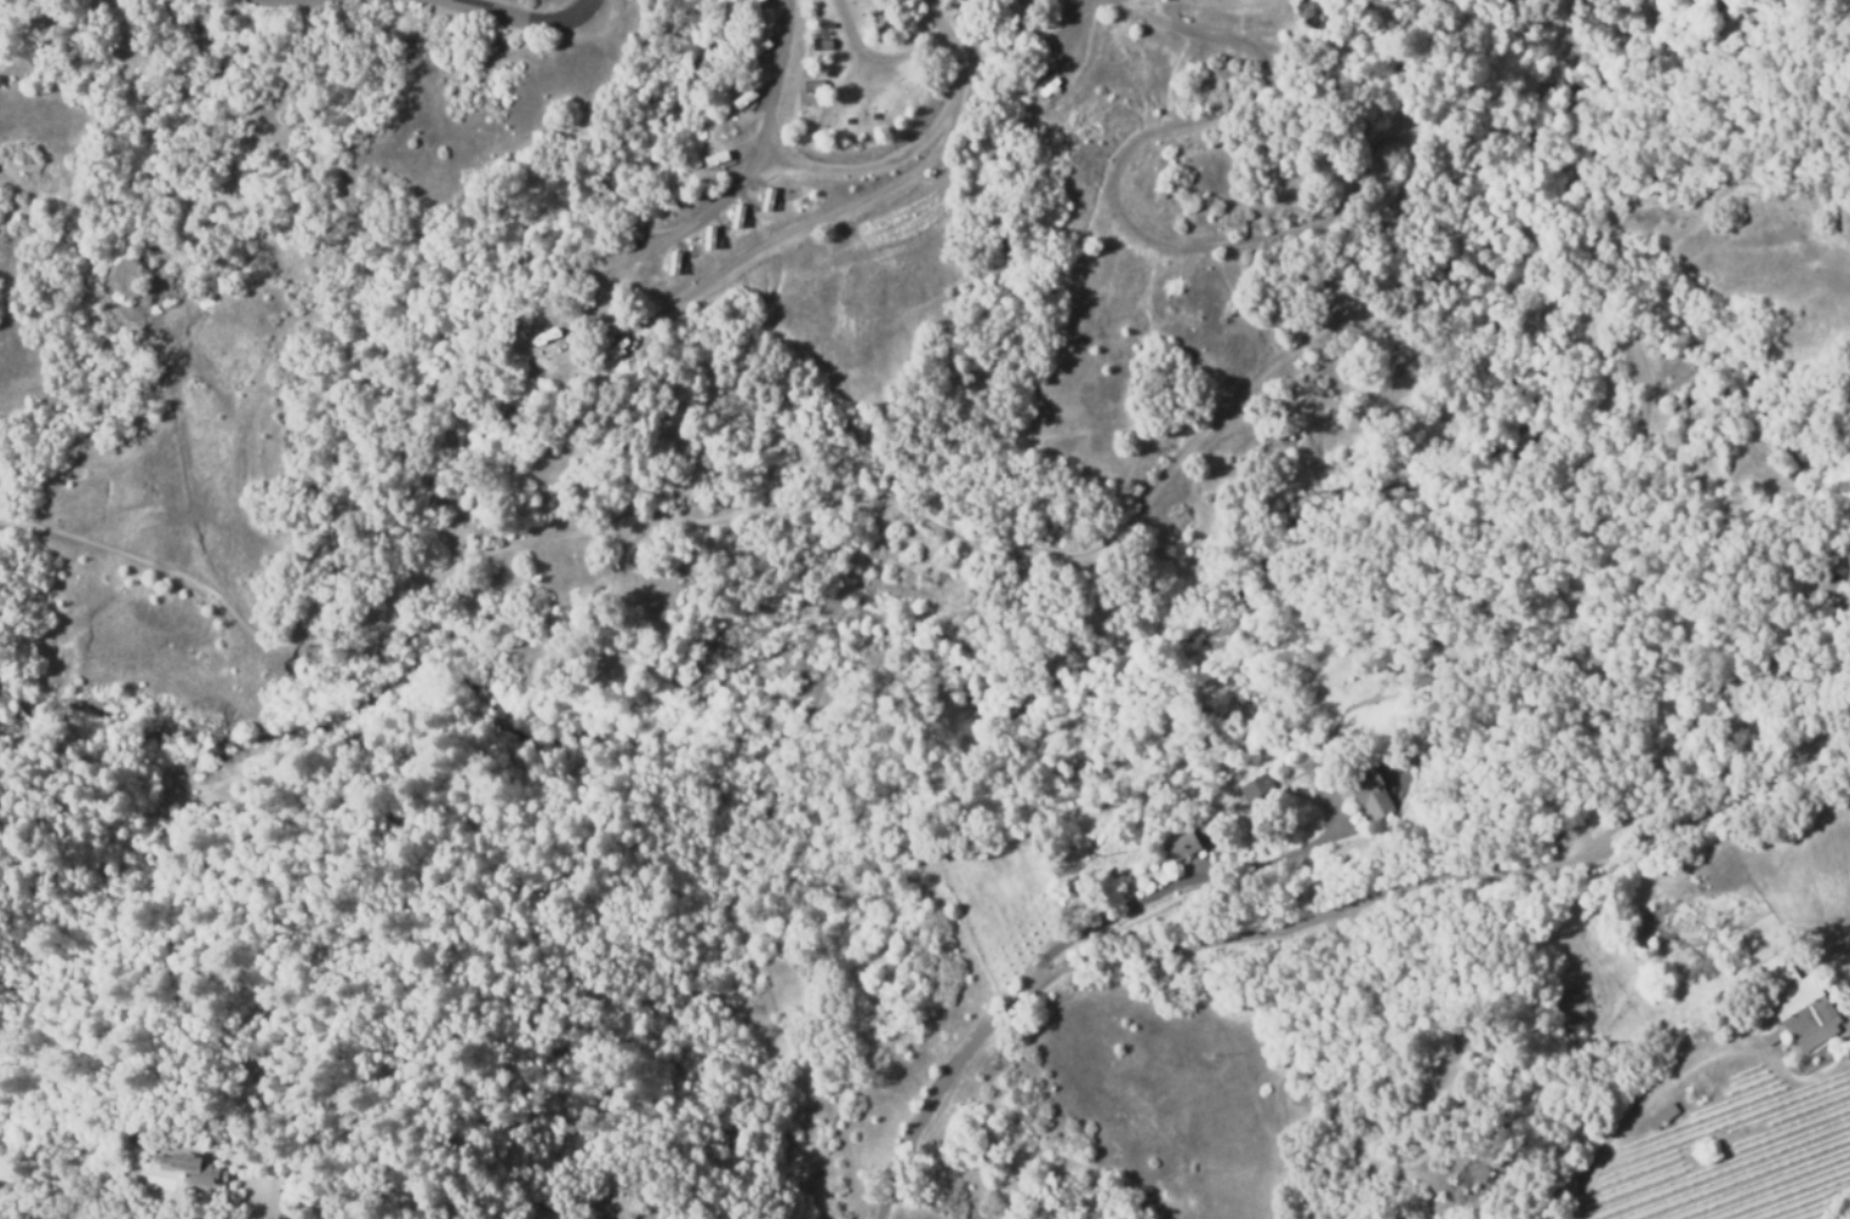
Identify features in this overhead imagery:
road: (509, 13)
building: (881, 21)
road: (1000, 33)
building: (820, 44)
building: (758, 57)
building: (812, 86)
building: (738, 114)
building: (704, 171)
building: (766, 199)
building: (670, 204)
building: (737, 216)
building: (708, 237)
building: (674, 263)
building: (622, 353)
building: (1848, 557)
building: (1765, 663)
building: (1809, 664)
building: (1257, 789)
building: (1370, 792)
building: (1183, 846)
road: (1311, 917)
building: (1044, 928)
building: (1802, 1006)
road: (1846, 1013)
building: (1774, 1036)
building: (1662, 1115)
building: (182, 1168)
building: (236, 1168)
road: (265, 1204)
road: (537, 1208)

